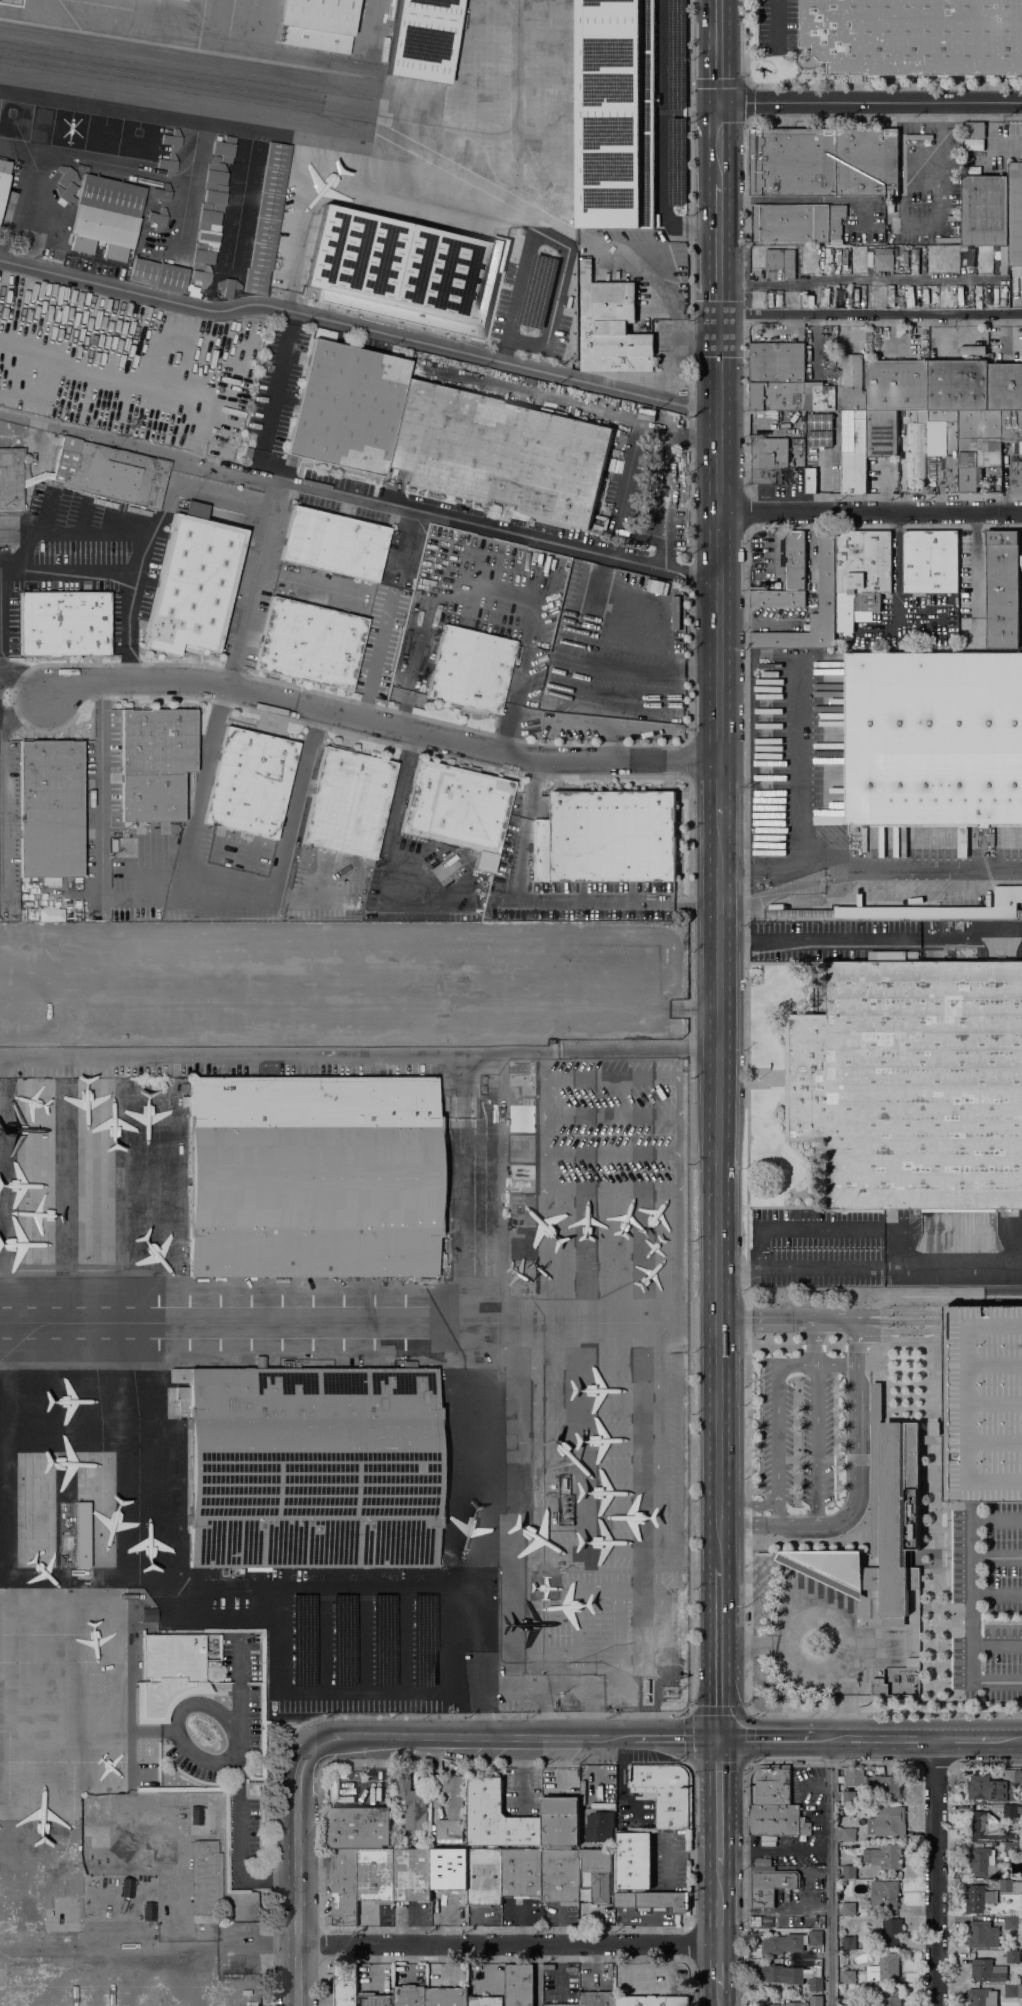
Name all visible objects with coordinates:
airport hangar: (183, 0)
building: (183, 0)
airport hangar: (317, 24)
building: (317, 24)
road: (779, 26)
parking lot: (778, 27)
building: (915, 36)
airport hangar: (422, 39)
building: (422, 39)
road: (745, 42)
road: (719, 51)
building: (615, 52)
airport taxiway: (187, 82)
road: (747, 102)
traffic signals: (719, 103)
road: (870, 103)
building: (974, 130)
helipad: (65, 131)
road: (664, 136)
helipad: (100, 137)
helipad: (135, 142)
road: (719, 143)
building: (224, 149)
road: (939, 154)
building: (824, 161)
airport apron: (353, 162)
airport: (367, 163)
airport hangar: (616, 166)
building: (616, 166)
building: (3, 179)
airport hangar: (269, 206)
building: (269, 206)
building: (985, 210)
road: (746, 213)
building: (106, 217)
building: (209, 217)
building: (1015, 217)
building: (796, 222)
road: (719, 249)
building: (775, 261)
building: (884, 263)
airport hangar: (402, 273)
building: (402, 273)
building: (158, 275)
building: (202, 276)
road: (857, 278)
airport hangar: (256, 281)
building: (256, 281)
building: (227, 288)
road: (516, 304)
road: (870, 314)
road: (745, 317)
road: (359, 327)
building: (610, 327)
building: (777, 362)
building: (850, 384)
building: (897, 385)
building: (958, 385)
building: (1005, 387)
building: (778, 396)
building: (820, 396)
building: (346, 409)
road: (746, 411)
building: (767, 417)
building: (820, 421)
building: (1011, 425)
building: (882, 433)
building: (819, 438)
building: (945, 442)
building: (977, 446)
building: (854, 451)
building: (914, 452)
building: (247, 453)
building: (499, 453)
building: (768, 460)
building: (110, 472)
building: (1016, 473)
building: (12, 478)
building: (37, 478)
building: (810, 480)
road: (180, 490)
road: (359, 501)
road: (747, 512)
road: (870, 513)
road: (266, 526)
road: (719, 538)
building: (334, 543)
building: (795, 561)
building: (930, 562)
road: (124, 566)
road: (254, 574)
building: (861, 574)
building: (826, 575)
road: (975, 576)
building: (193, 583)
parking lot: (644, 583)
parking lot: (575, 585)
building: (1002, 589)
building: (778, 598)
building: (63, 623)
building: (310, 644)
parking lot: (674, 645)
road: (377, 657)
parking lot: (572, 659)
building: (470, 670)
road: (45, 697)
road: (690, 699)
parking lot: (600, 709)
road: (380, 725)
building: (933, 739)
building: (155, 762)
building: (250, 783)
road: (532, 790)
road: (719, 790)
road: (102, 797)
building: (348, 802)
road: (801, 803)
building: (51, 809)
building: (457, 809)
building: (606, 837)
building: (961, 841)
building: (123, 848)
road: (911, 867)
road: (227, 892)
road: (574, 904)
building: (919, 909)
building: (50, 915)
road: (870, 938)
building: (553, 1041)
road: (359, 1054)
airport hangar: (523, 1076)
building: (523, 1076)
building: (913, 1083)
airport hangar: (492, 1091)
building: (492, 1091)
airport hangar: (522, 1116)
building: (522, 1116)
airport hangar: (495, 1119)
building: (495, 1119)
road: (747, 1120)
airport hangar: (494, 1147)
building: (494, 1147)
airport hangar: (521, 1148)
building: (521, 1148)
airport hangar: (496, 1174)
building: (496, 1174)
airport hangar: (312, 1177)
building: (312, 1177)
airport hangar: (521, 1178)
building: (521, 1178)
road: (719, 1193)
airport hangar: (522, 1212)
building: (522, 1212)
airport hangar: (523, 1246)
building: (523, 1246)
road: (952, 1265)
road: (800, 1268)
airport hangar: (522, 1279)
building: (522, 1279)
road: (689, 1287)
road: (936, 1295)
road: (756, 1316)
road: (874, 1316)
road: (858, 1322)
road: (988, 1323)
airport taxiway: (328, 1324)
road: (787, 1327)
road: (906, 1332)
road: (813, 1340)
road: (856, 1346)
road: (811, 1347)
road: (798, 1364)
road: (835, 1364)
road: (856, 1373)
building: (982, 1403)
parking garage: (982, 1403)
road: (967, 1422)
parking lot: (796, 1434)
building: (932, 1439)
road: (922, 1440)
road: (797, 1442)
airport: (313, 1463)
road: (855, 1465)
airport hangar: (310, 1466)
building: (310, 1466)
road: (995, 1480)
road: (896, 1489)
road: (874, 1498)
road: (748, 1503)
road: (934, 1506)
road: (885, 1507)
road: (979, 1520)
building: (879, 1523)
road: (757, 1524)
road: (805, 1524)
building: (82, 1535)
road: (997, 1557)
road: (412, 1585)
road: (935, 1600)
parking lot: (987, 1603)
road: (230, 1616)
road: (983, 1621)
road: (796, 1622)
road: (275, 1631)
road: (972, 1642)
road: (752, 1644)
road: (719, 1653)
building: (912, 1662)
building: (168, 1674)
building: (879, 1687)
road: (355, 1692)
road: (689, 1711)
road: (885, 1711)
road: (176, 1725)
road: (471, 1736)
road: (677, 1737)
road: (768, 1738)
road: (875, 1738)
road: (963, 1739)
road: (1007, 1740)
road: (559, 1764)
road: (593, 1766)
building: (854, 1777)
road: (719, 1783)
road: (240, 1785)
building: (884, 1786)
building: (995, 1786)
building: (663, 1791)
building: (848, 1797)
building: (411, 1800)
building: (773, 1803)
building: (452, 1811)
building: (1012, 1811)
building: (497, 1817)
building: (560, 1821)
building: (887, 1821)
building: (599, 1826)
building: (358, 1827)
building: (990, 1827)
building: (848, 1834)
building: (875, 1844)
road: (719, 1846)
building: (1013, 1847)
building: (883, 1857)
building: (633, 1859)
building: (762, 1861)
building: (984, 1863)
building: (450, 1868)
building: (848, 1871)
building: (522, 1872)
road: (829, 1872)
road: (935, 1872)
building: (412, 1874)
building: (598, 1874)
road: (296, 1875)
building: (375, 1875)
building: (484, 1876)
building: (560, 1876)
building: (206, 1882)
building: (770, 1884)
building: (1010, 1885)
building: (344, 1887)
building: (884, 1894)
building: (978, 1898)
building: (653, 1900)
road: (718, 1904)
building: (849, 1908)
building: (761, 1921)
building: (1010, 1922)
building: (1019, 1922)
building: (891, 1926)
building: (983, 1935)
building: (815, 1937)
building: (782, 1943)
road: (507, 1944)
building: (1012, 1957)
road: (718, 1966)
building: (884, 1969)
building: (987, 1970)
building: (782, 1974)
building: (849, 1975)
building: (345, 1984)
building: (815, 1984)
building: (519, 1985)
building: (1013, 1990)
building: (410, 1995)
building: (891, 1996)
building: (447, 1997)
road: (719, 1997)
building: (982, 1997)
building: (374, 1999)
building: (597, 1999)
building: (815, 2000)
building: (485, 2001)
building: (652, 2001)
building: (790, 2004)
building: (874, 2004)
building: (561, 2005)
building: (848, 2005)

